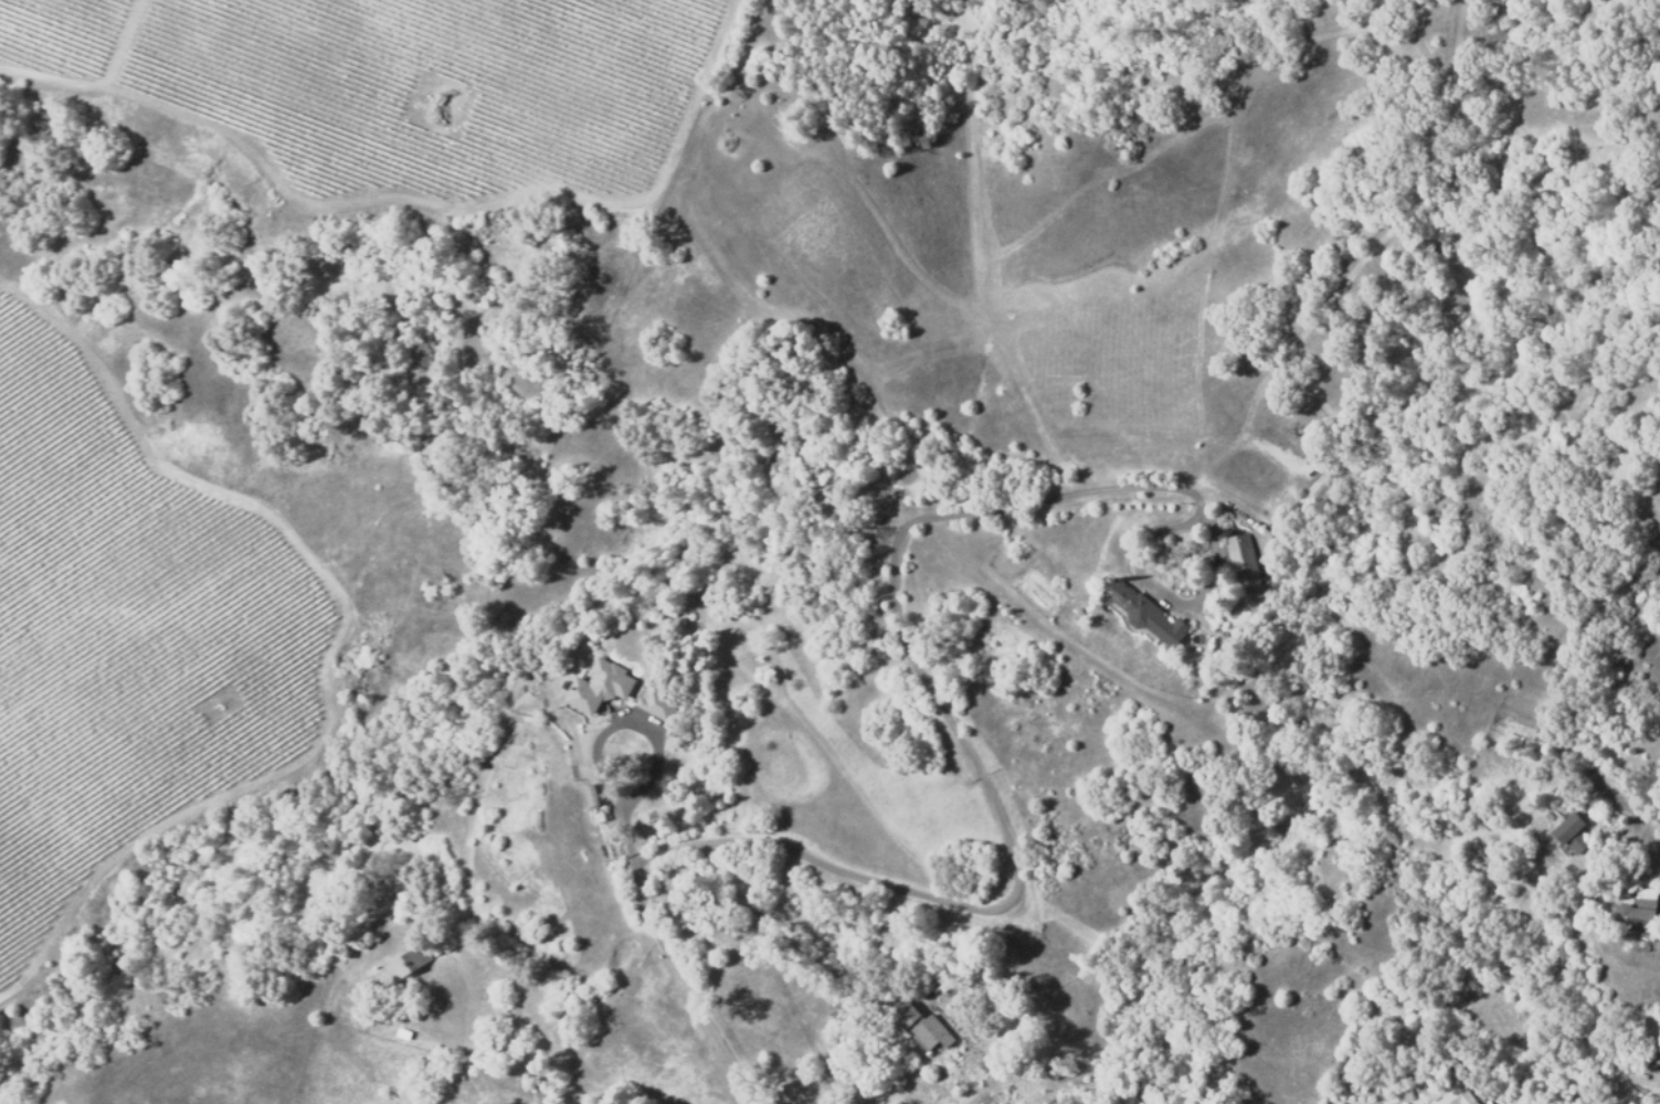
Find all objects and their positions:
building: (1243, 564)
building: (1143, 614)
building: (606, 680)
building: (655, 704)
building: (593, 795)
road: (633, 797)
building: (1573, 830)
road: (1021, 884)
building: (1638, 914)
building: (409, 963)
building: (922, 1022)
building: (403, 1033)
building: (1457, 1096)

